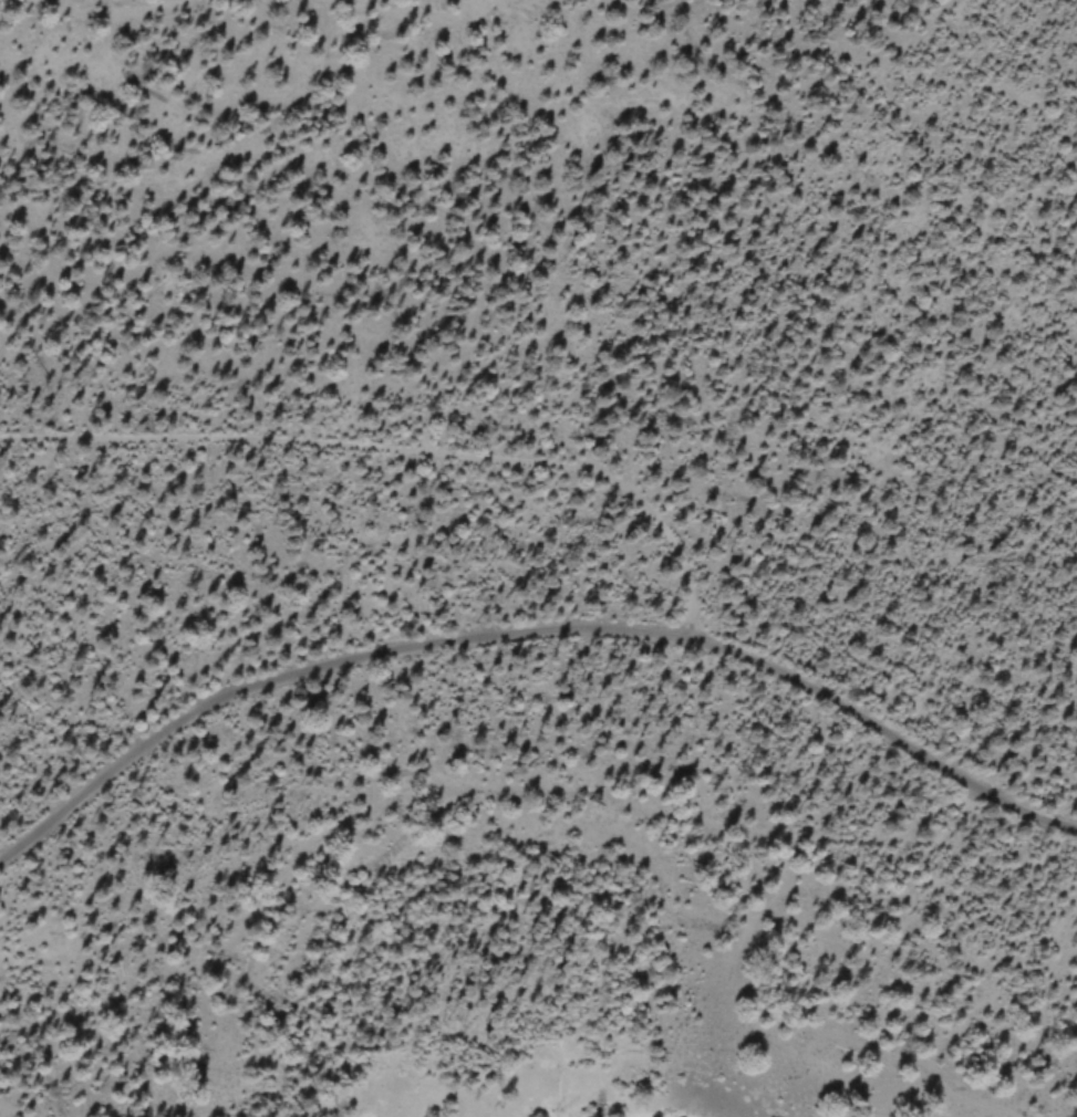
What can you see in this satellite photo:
road: (403, 447)
road: (531, 626)

